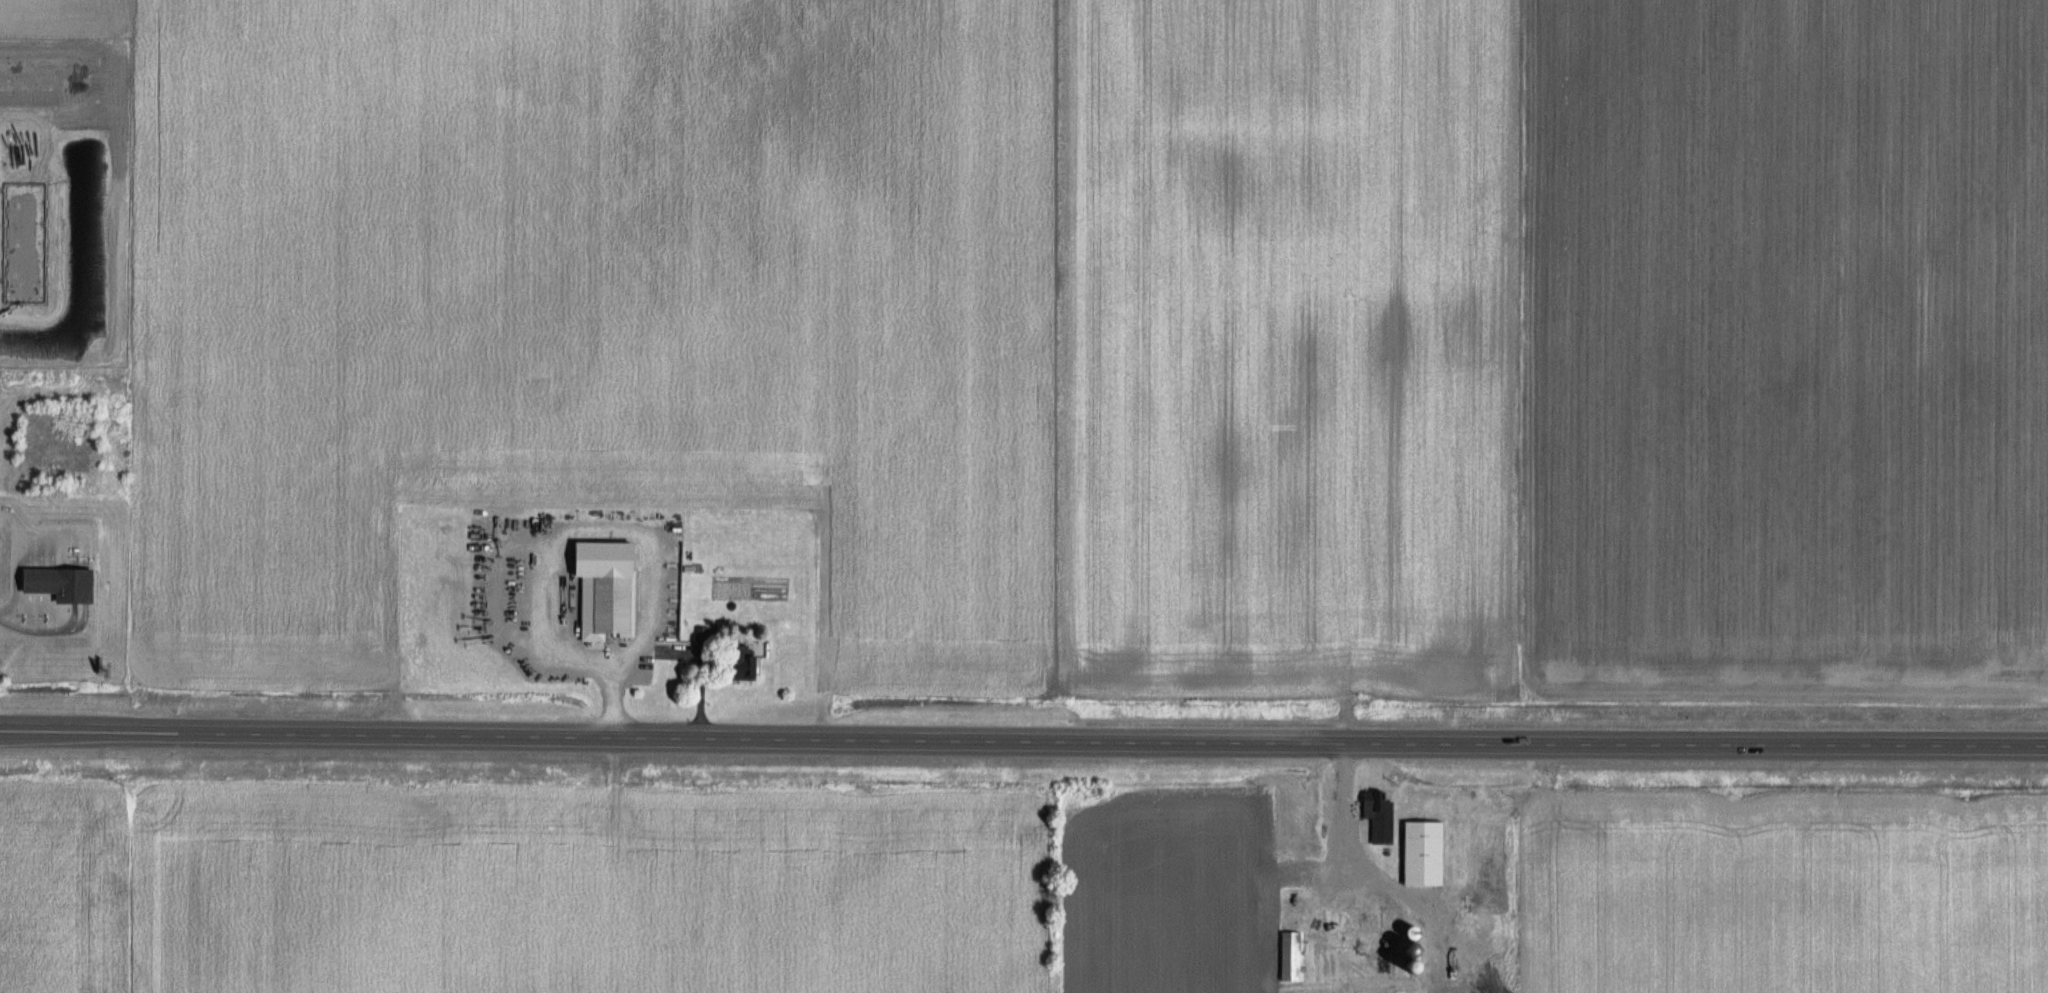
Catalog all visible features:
road: (542, 547)
road: (14, 559)
building: (51, 583)
building: (606, 605)
building: (737, 663)
road: (1023, 742)
road: (1340, 794)
building: (1374, 818)
building: (1418, 854)
building: (1285, 879)
building: (1329, 939)

